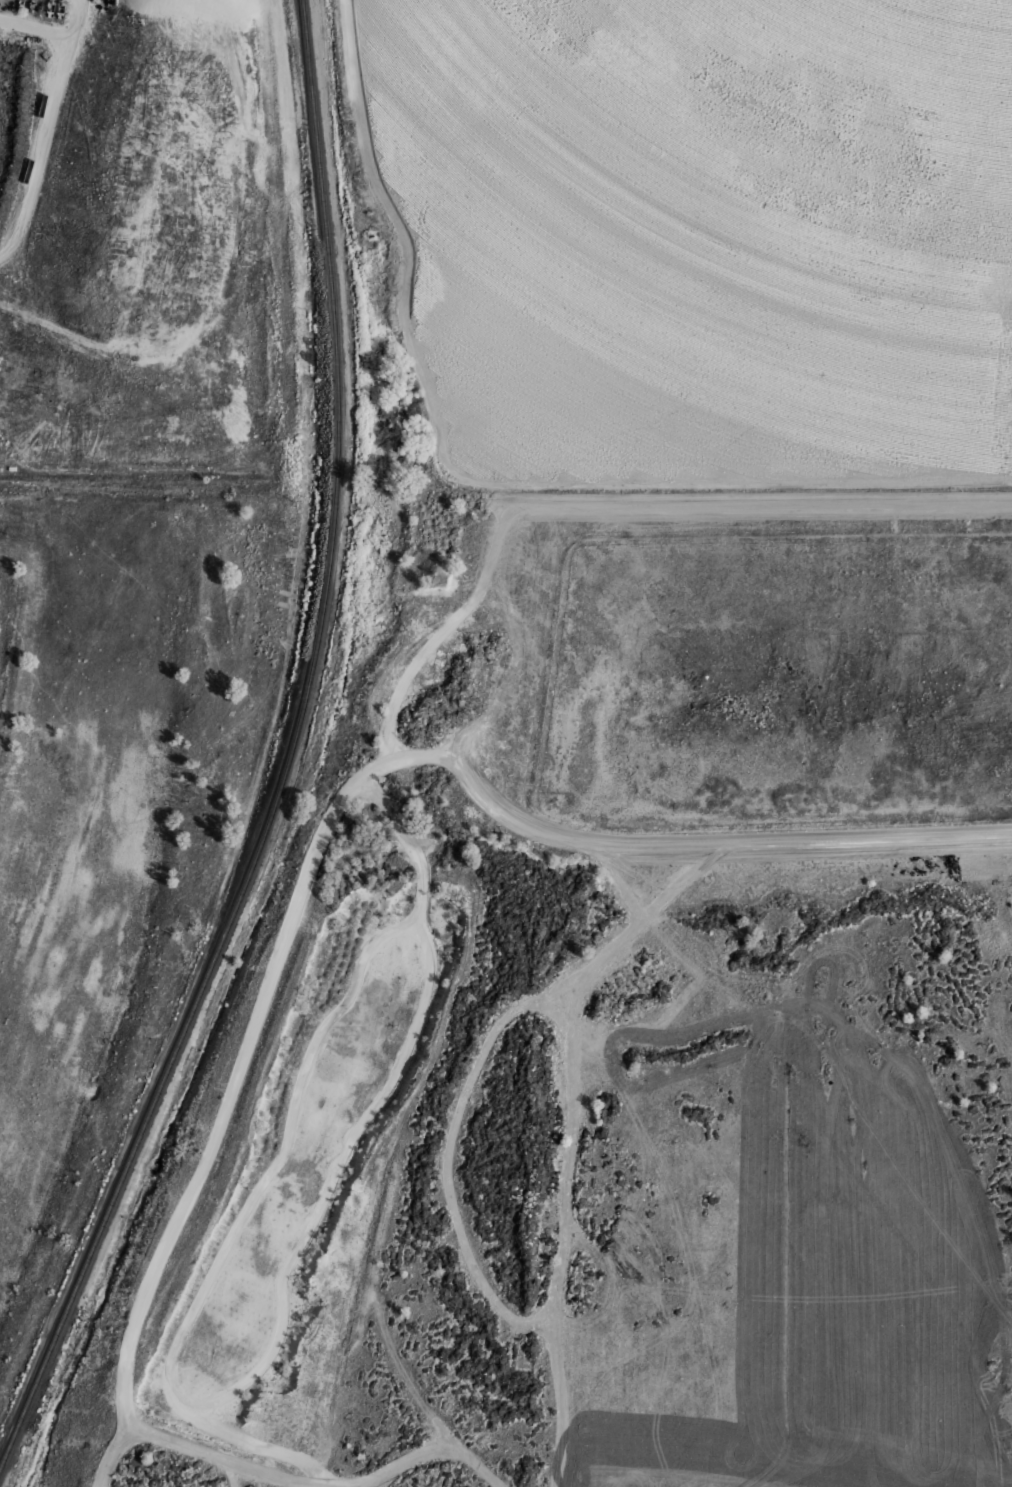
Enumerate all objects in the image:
road: (37, 26)
railway: (313, 85)
road: (48, 127)
crop: (724, 200)
road: (191, 252)
road: (482, 478)
railway: (323, 634)
road: (728, 847)
railway: (85, 1277)

